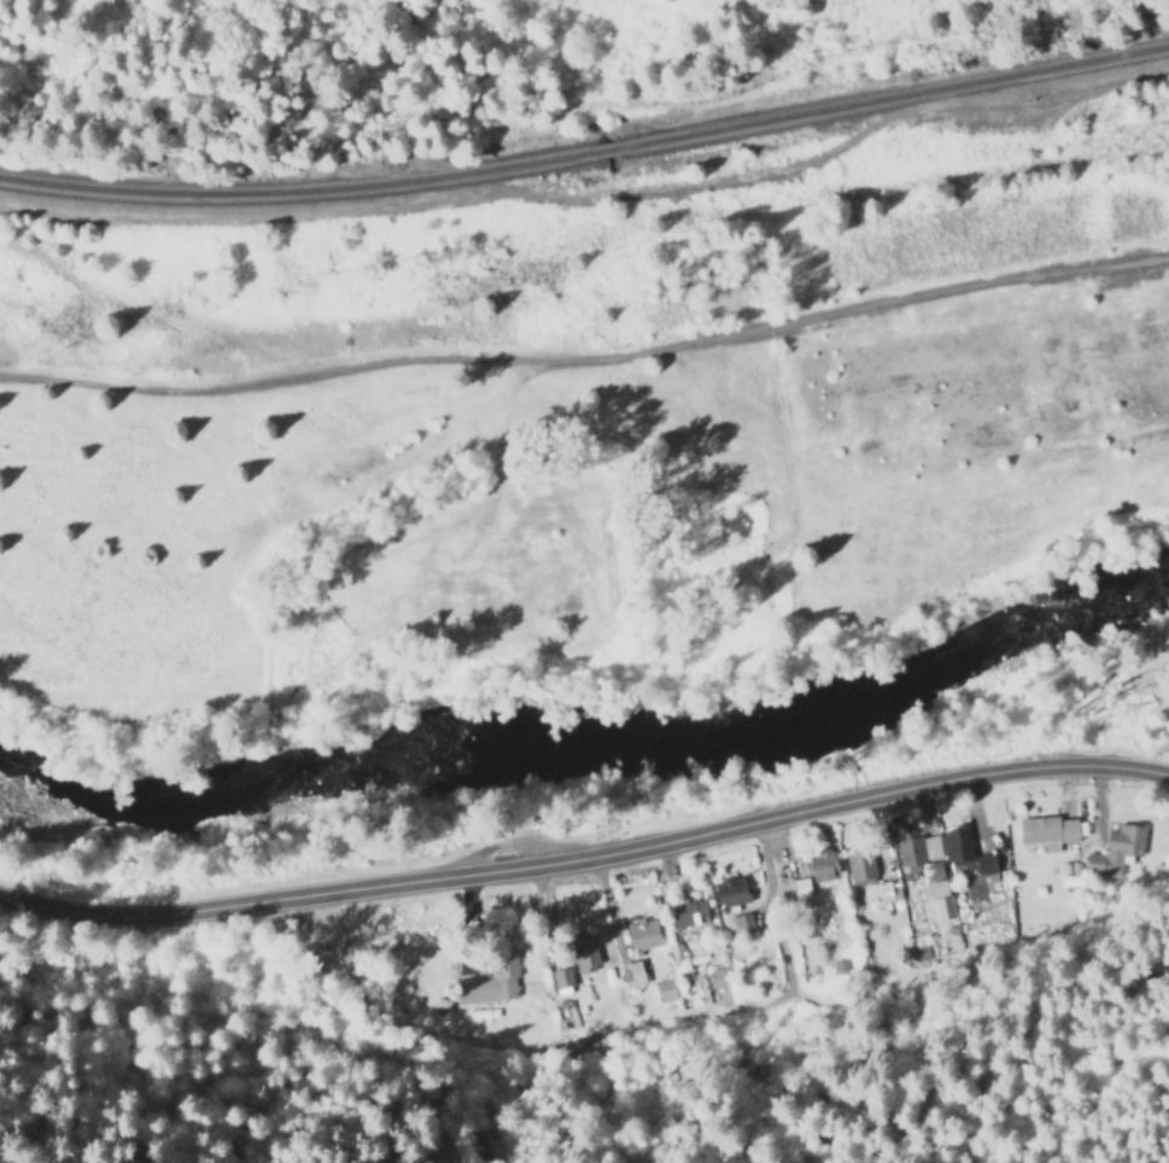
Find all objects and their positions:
railway: (588, 162)
road: (588, 368)
river: (590, 741)
building: (1048, 830)
building: (1115, 849)
building: (964, 852)
road: (586, 858)
building: (933, 872)
building: (730, 893)
building: (690, 916)
building: (643, 934)
building: (632, 972)

